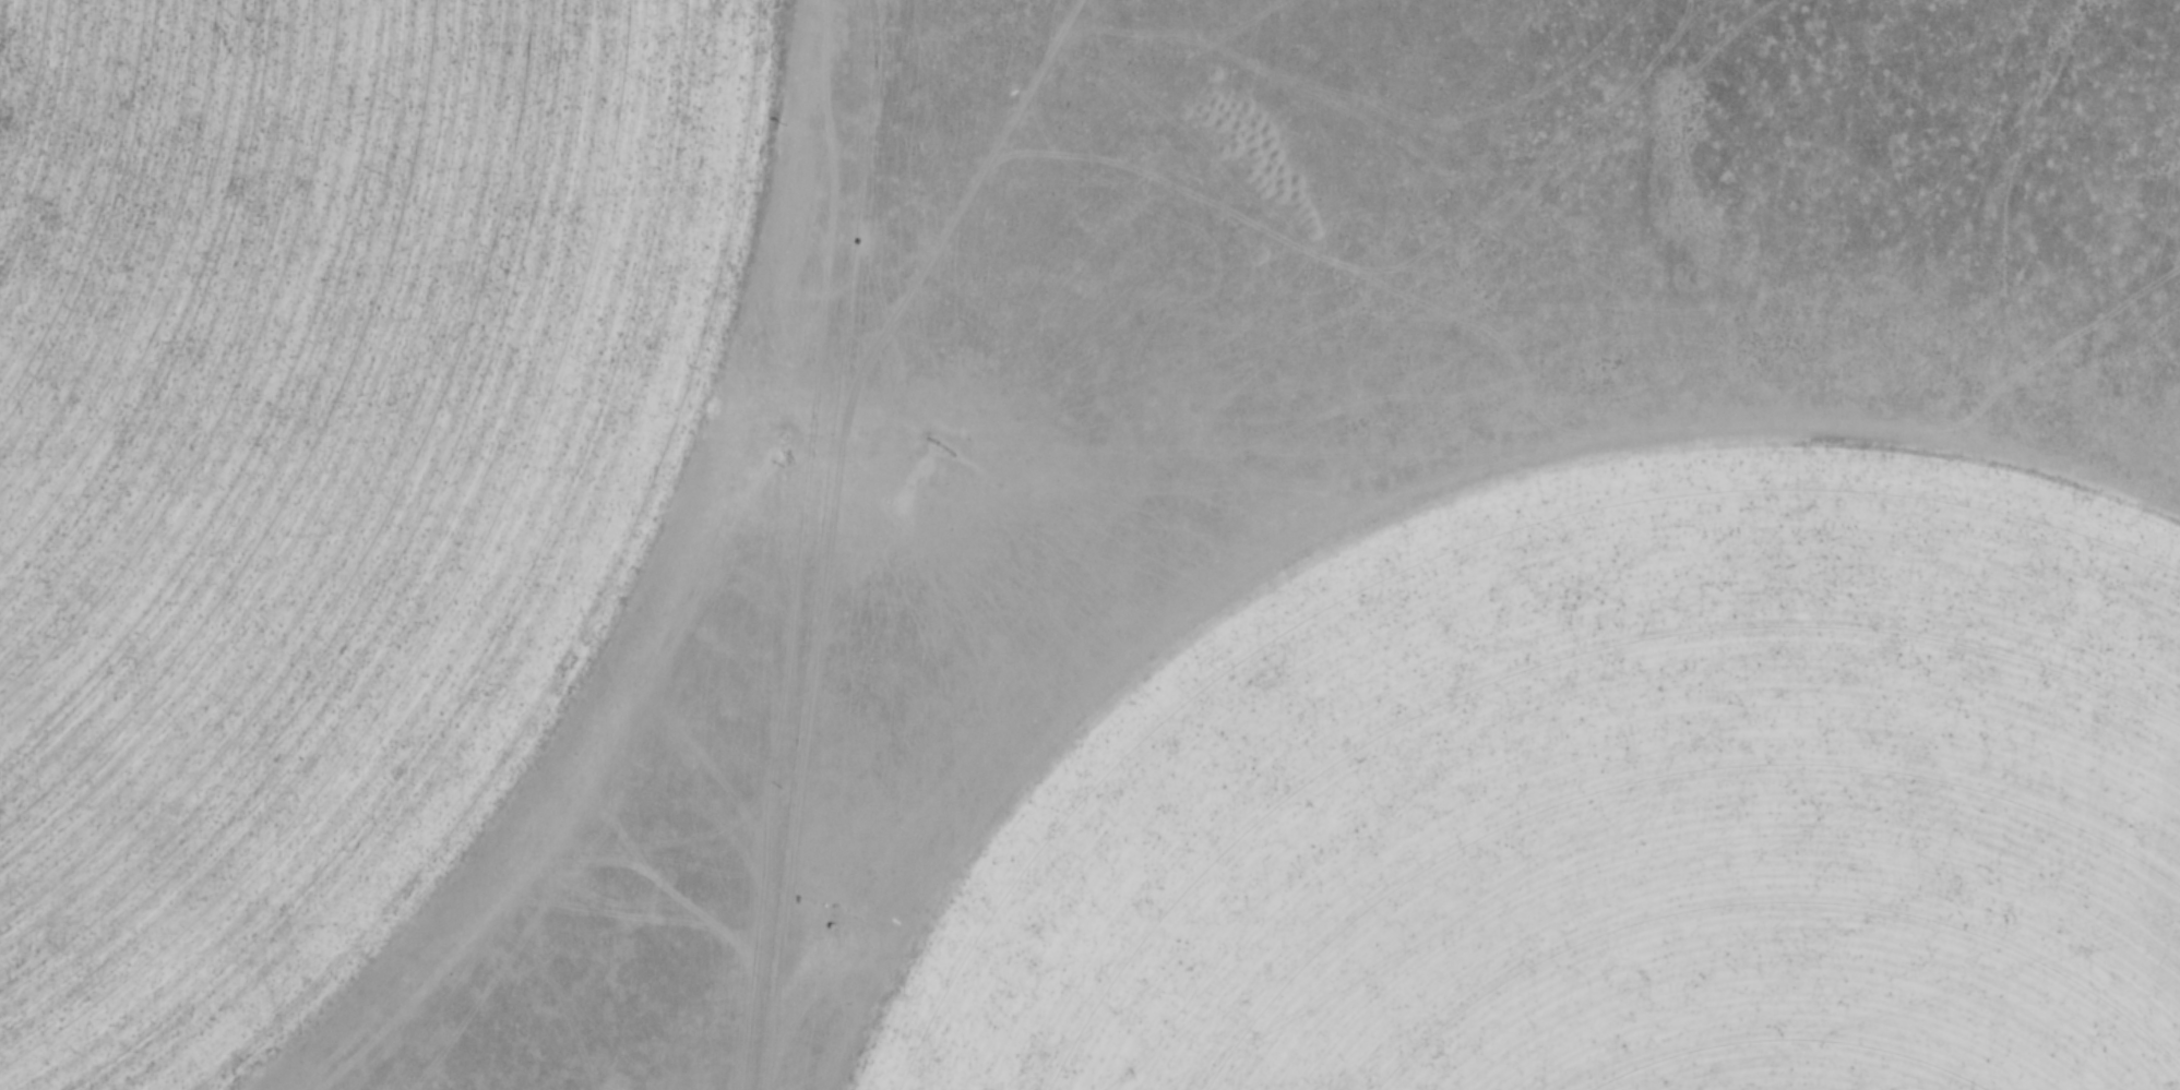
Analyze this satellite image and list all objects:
crop: (329, 465)
road: (818, 544)

